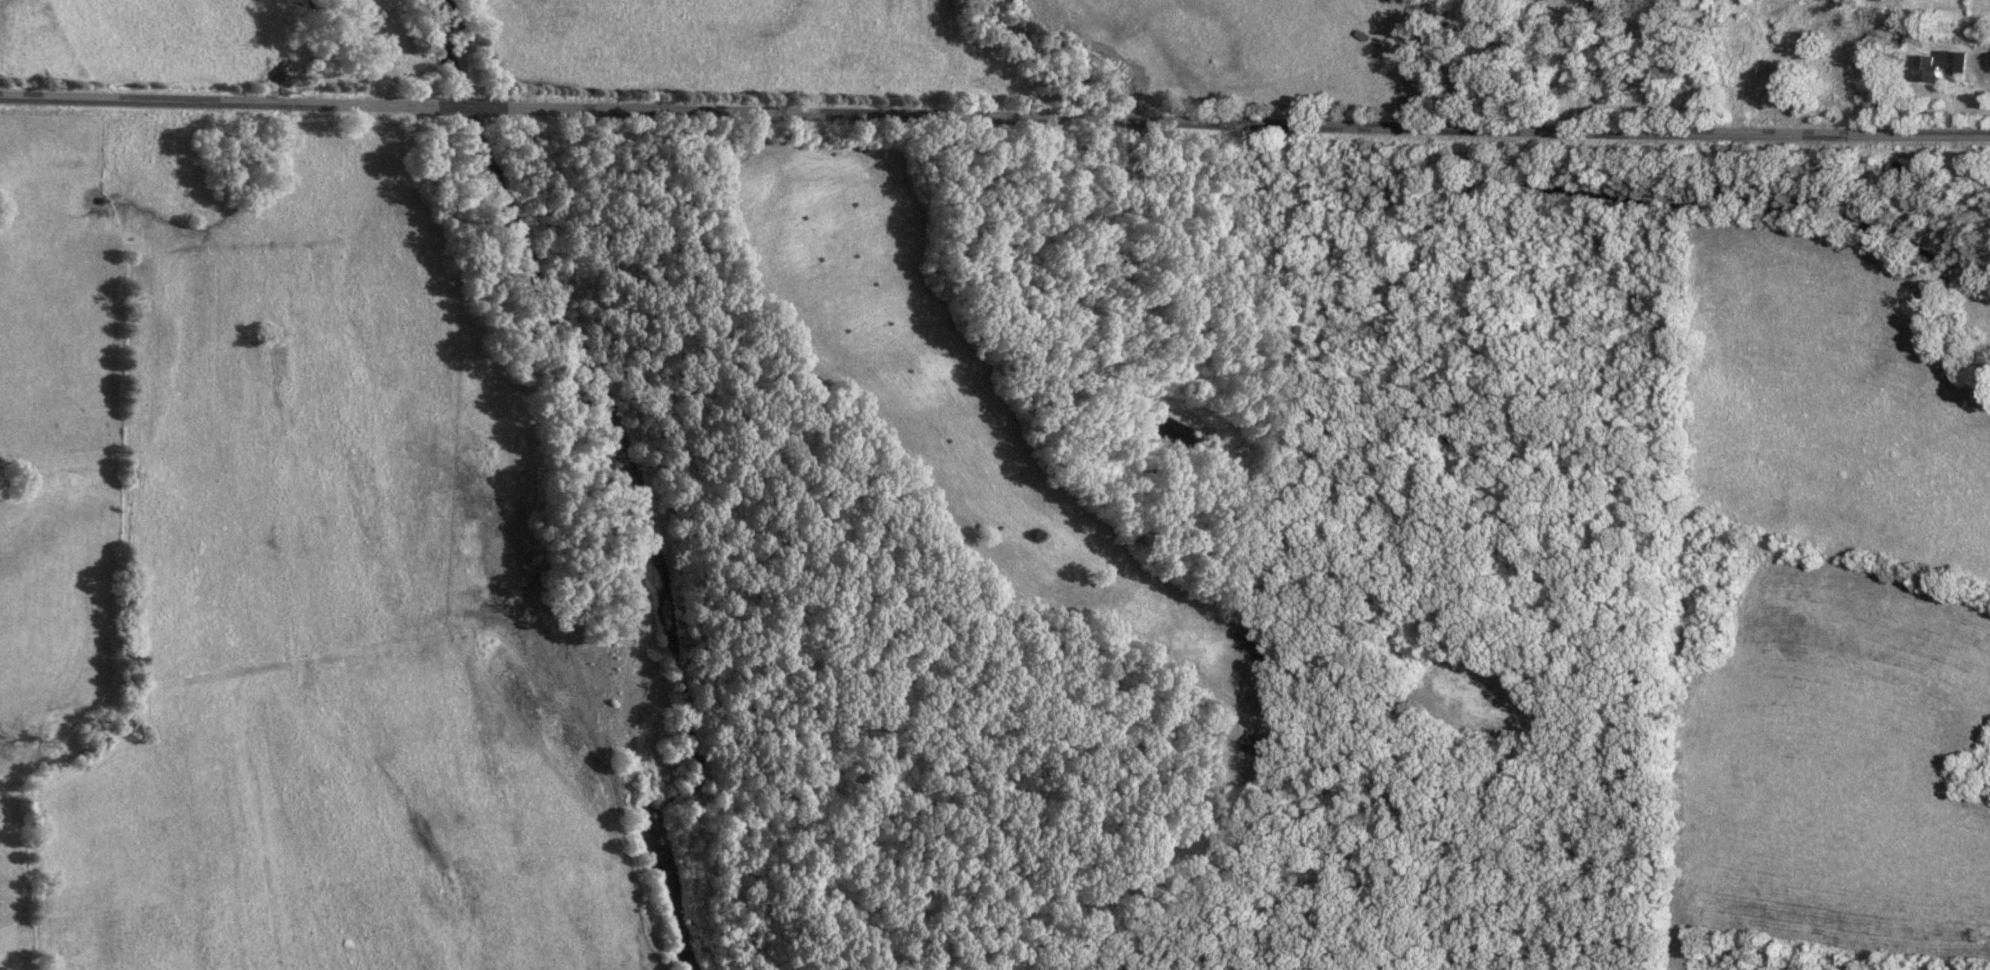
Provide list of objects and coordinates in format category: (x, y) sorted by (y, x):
road: (1565, 64)
building: (1929, 67)
road: (995, 115)
building: (1252, 743)

